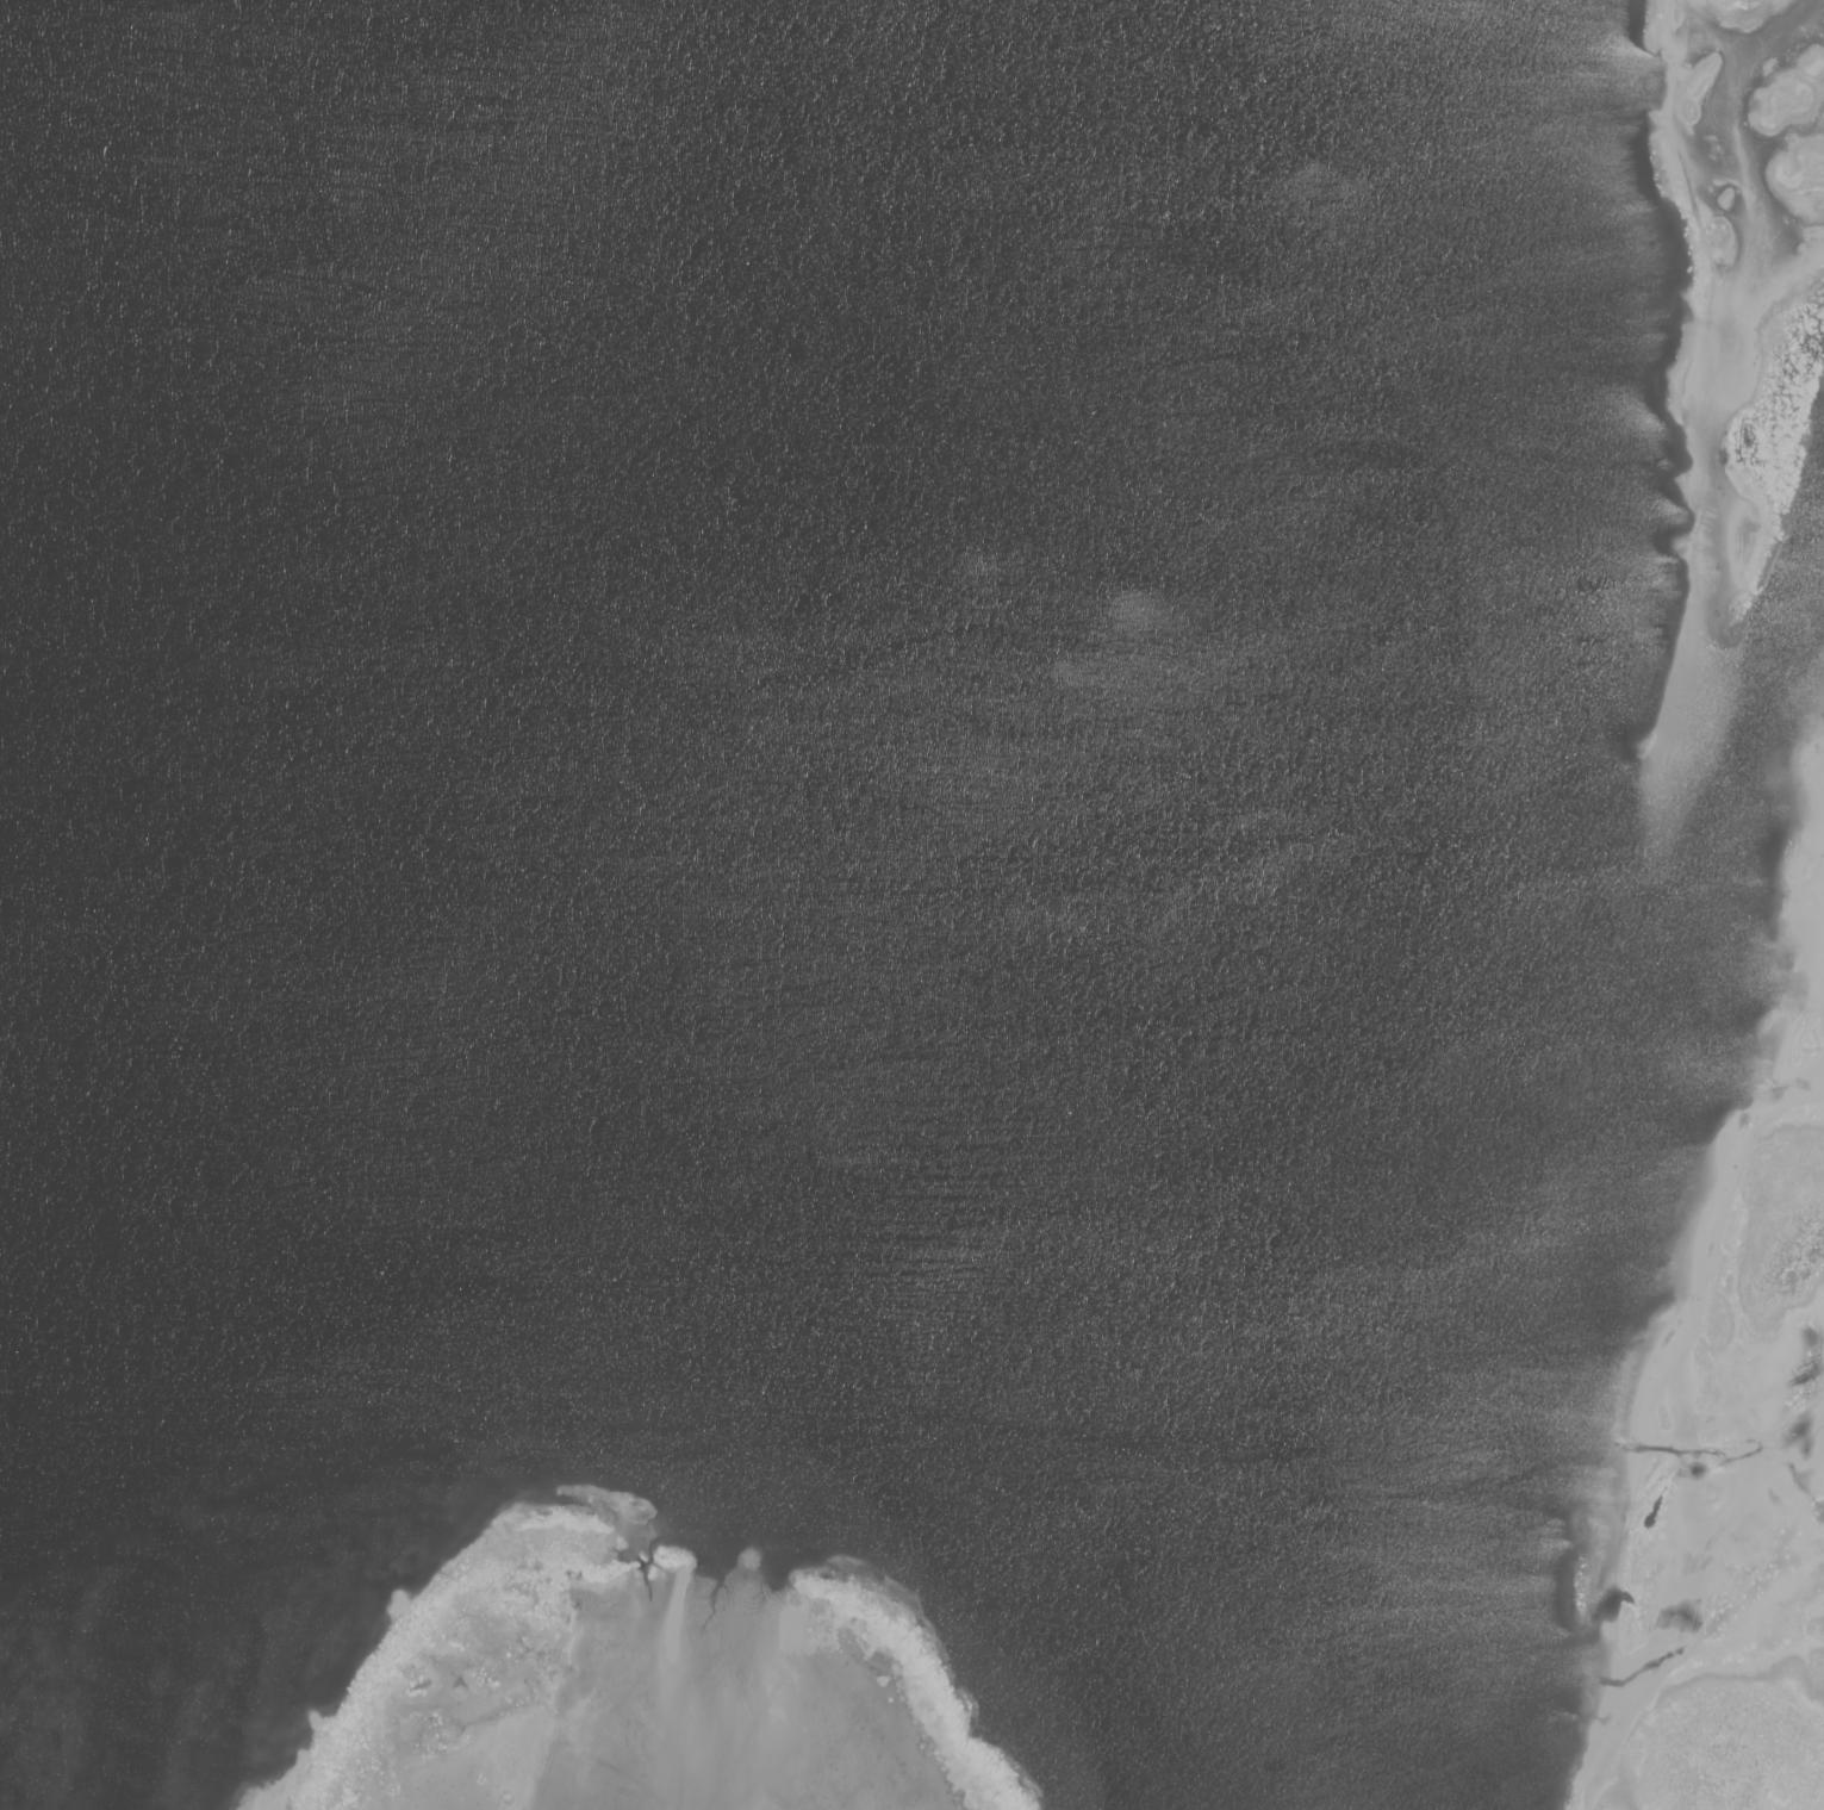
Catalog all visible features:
park: (1725, 360)
park: (1722, 1400)

